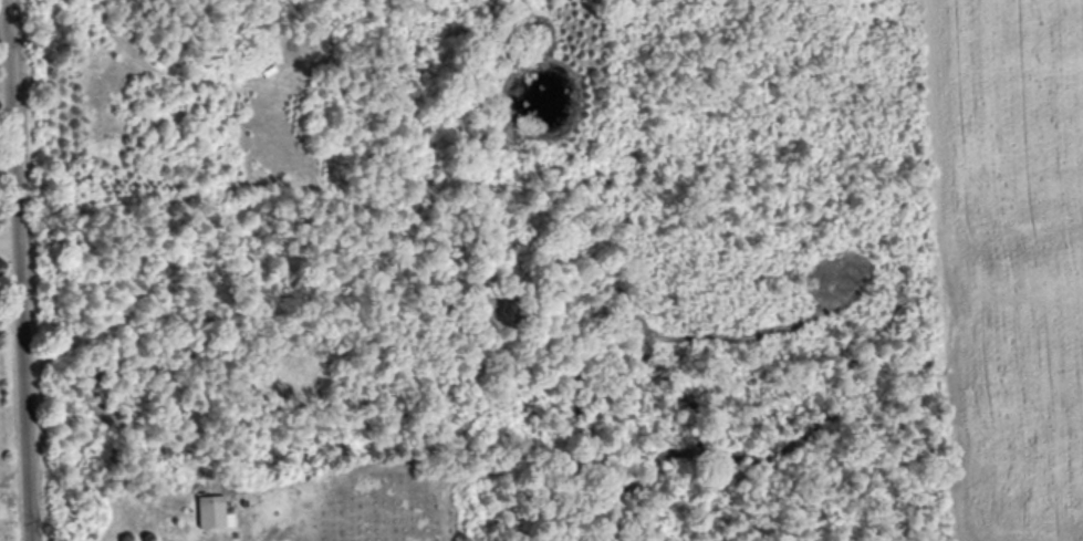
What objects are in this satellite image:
road: (20, 270)
building: (216, 513)

